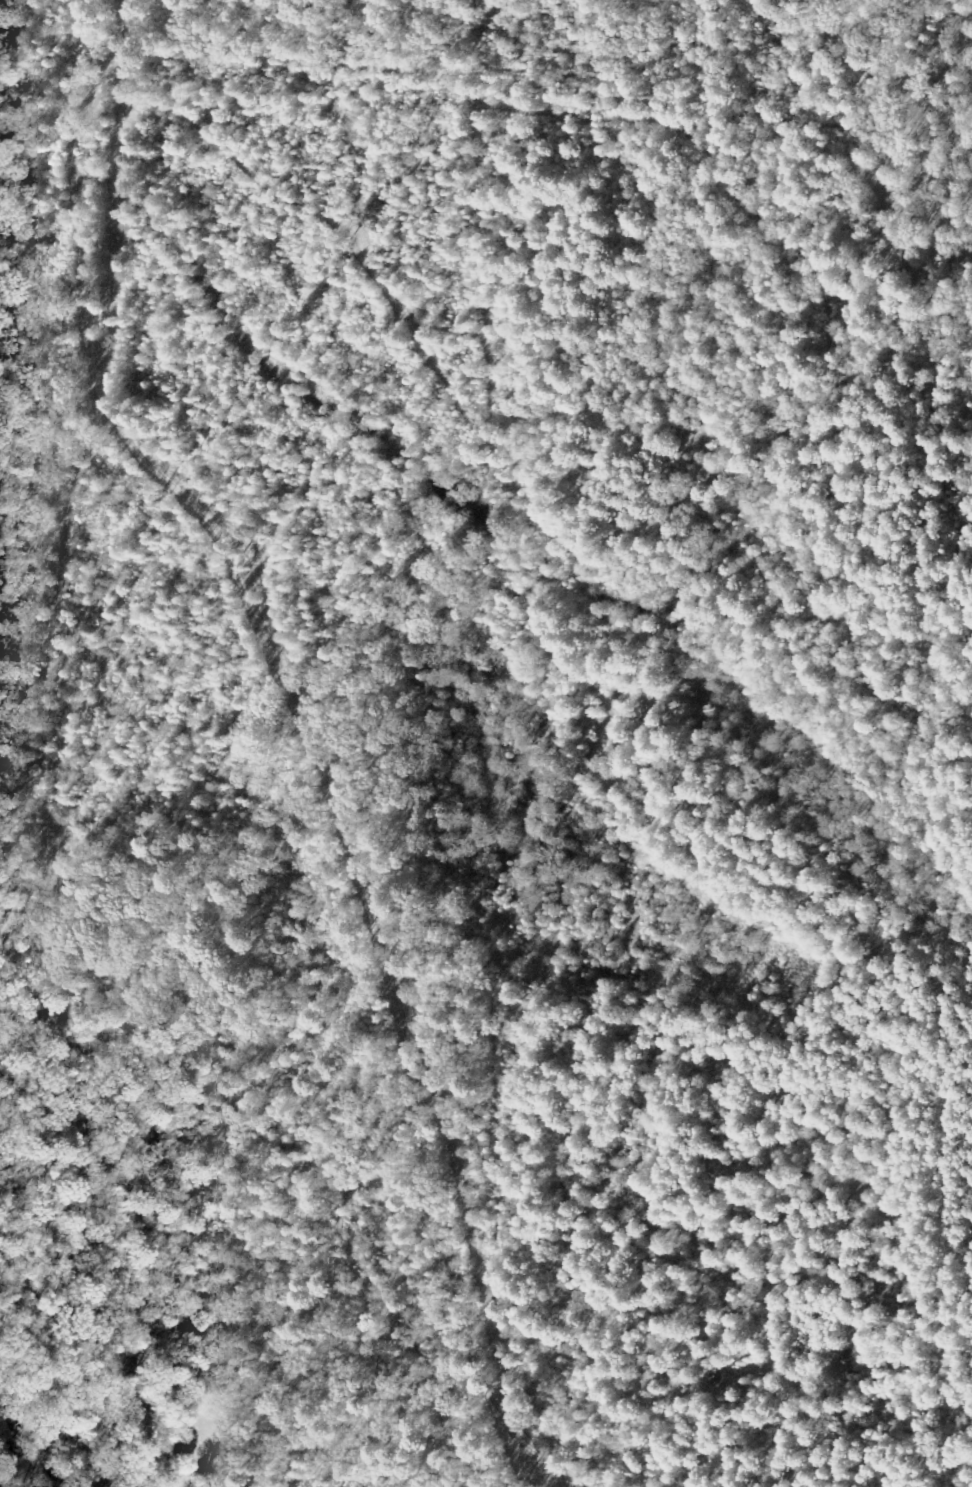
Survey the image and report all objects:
road: (337, 720)

